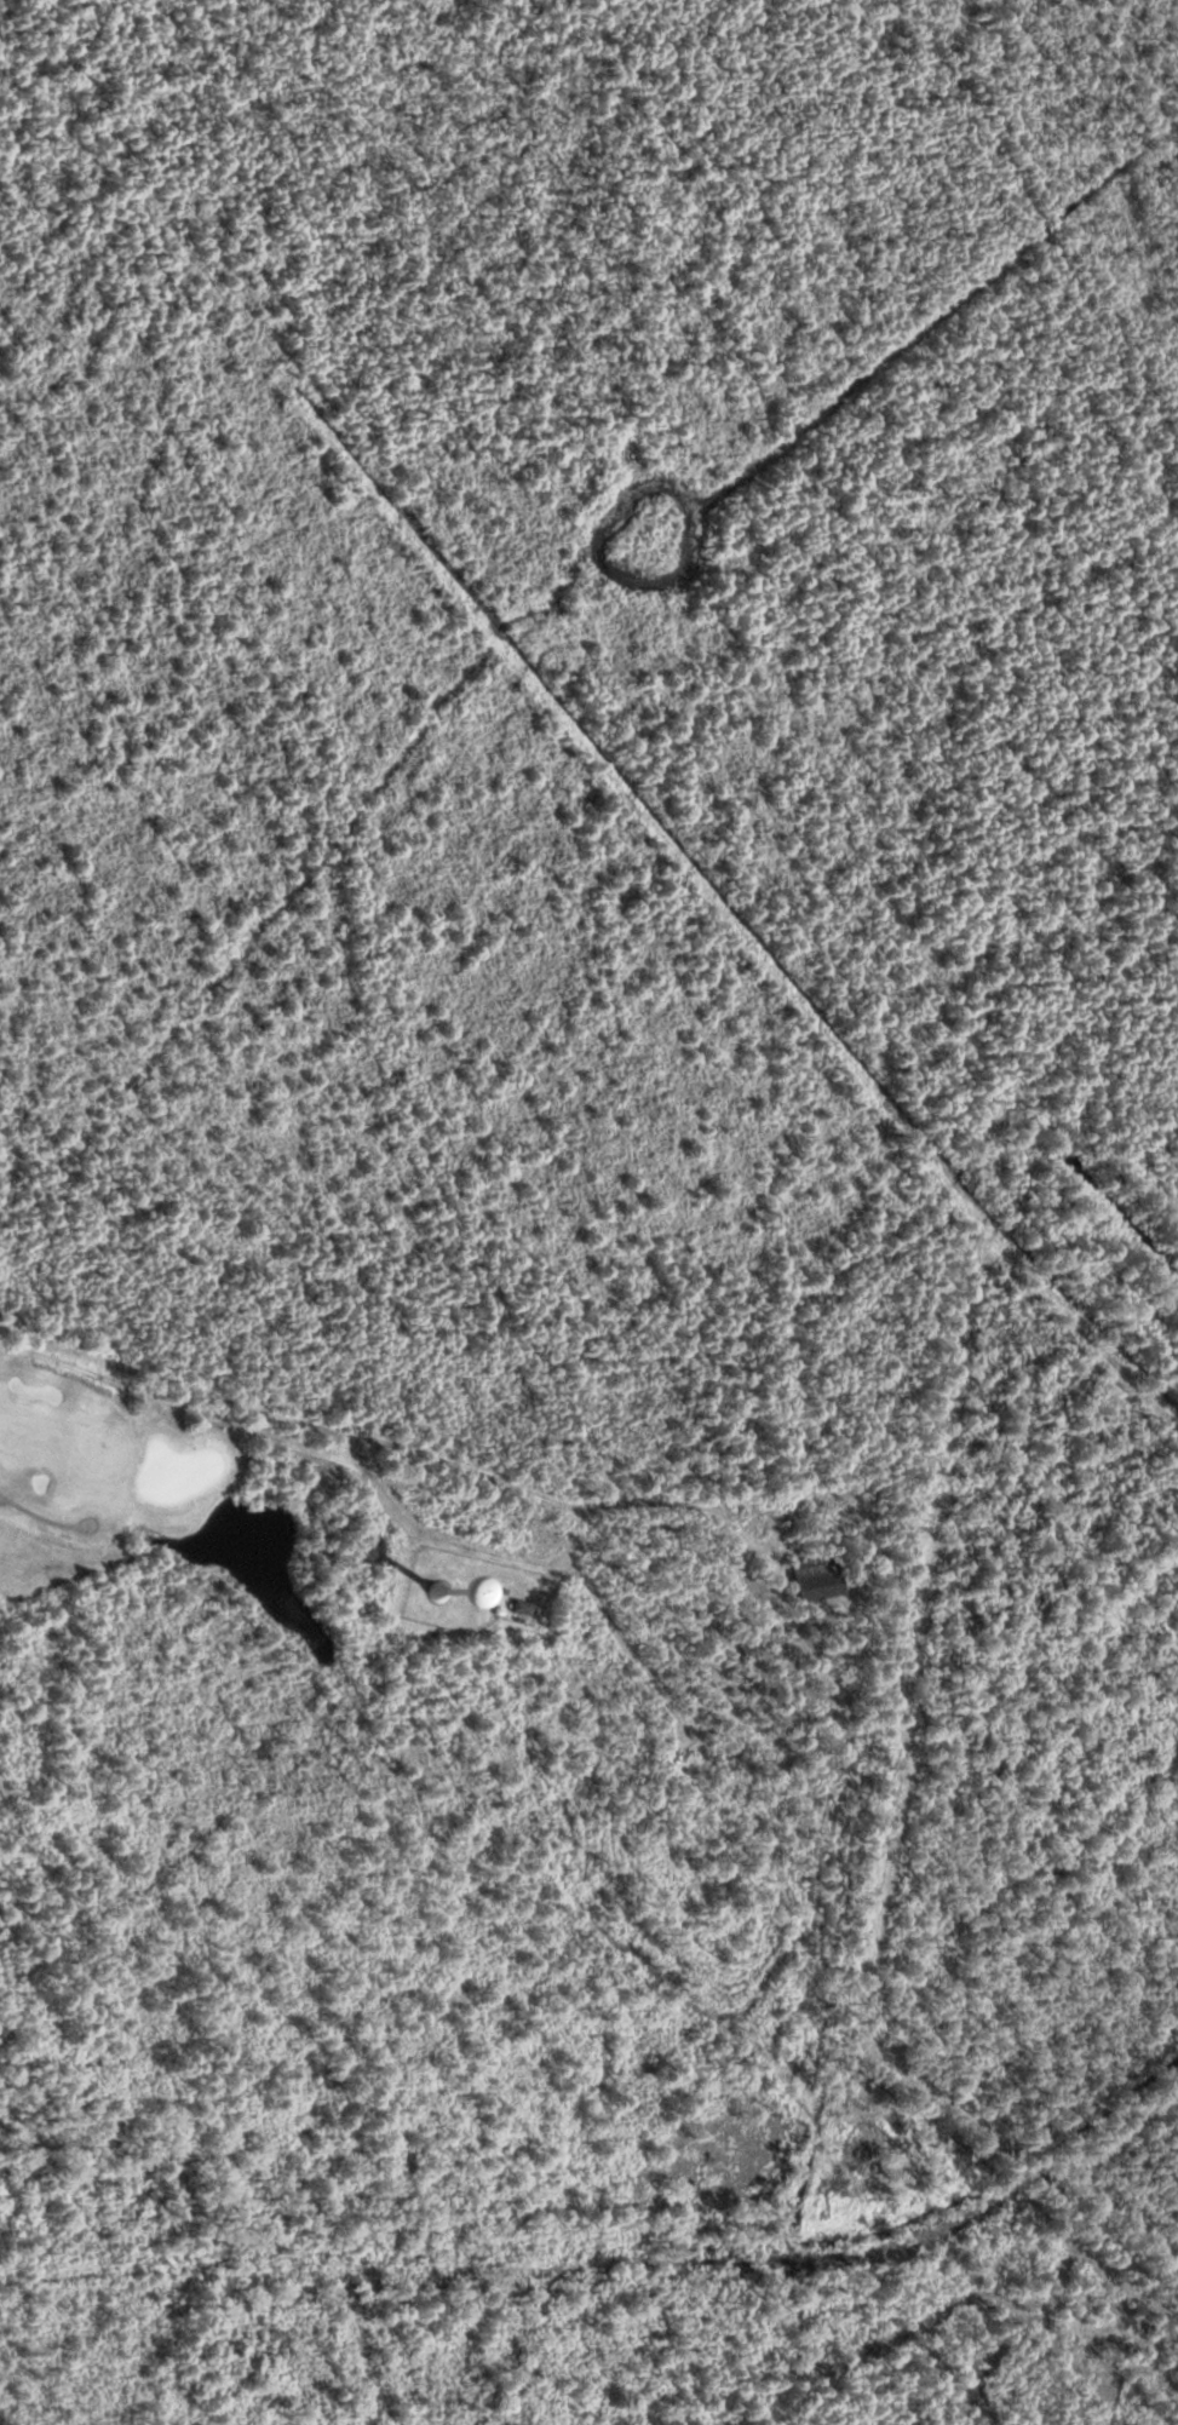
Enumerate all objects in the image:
park: (92, 1454)
building: (815, 1578)
building: (436, 1598)

